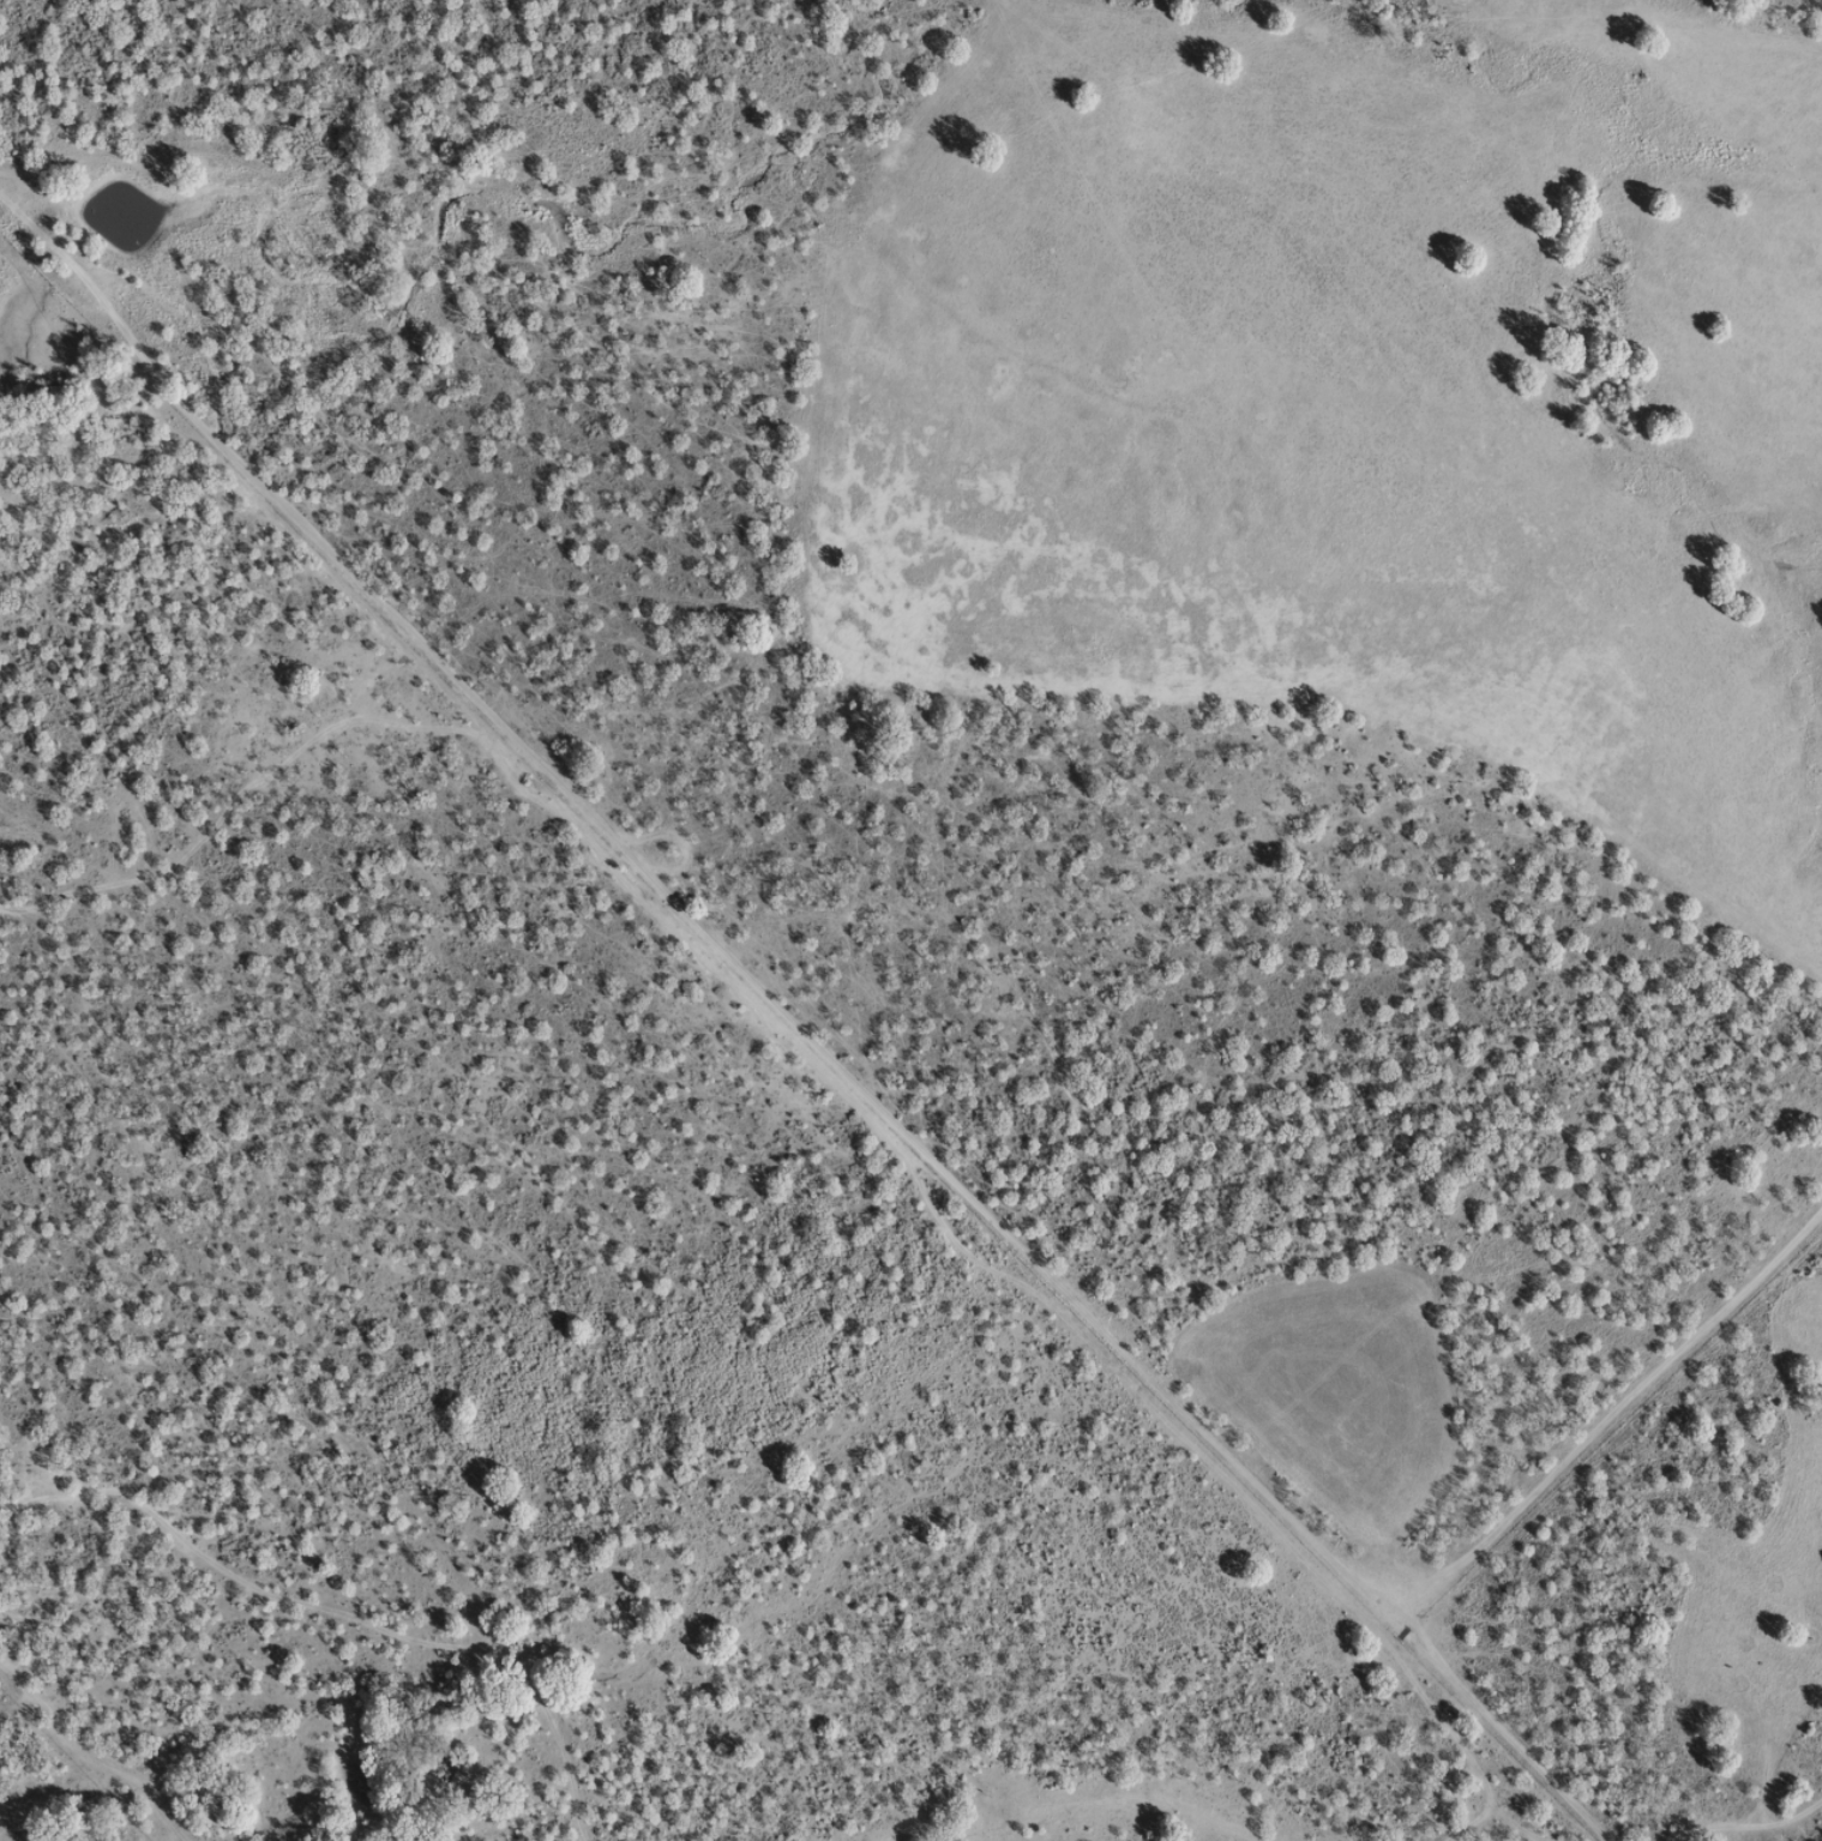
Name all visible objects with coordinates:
road: (1475, 1484)
road: (1791, 1825)

